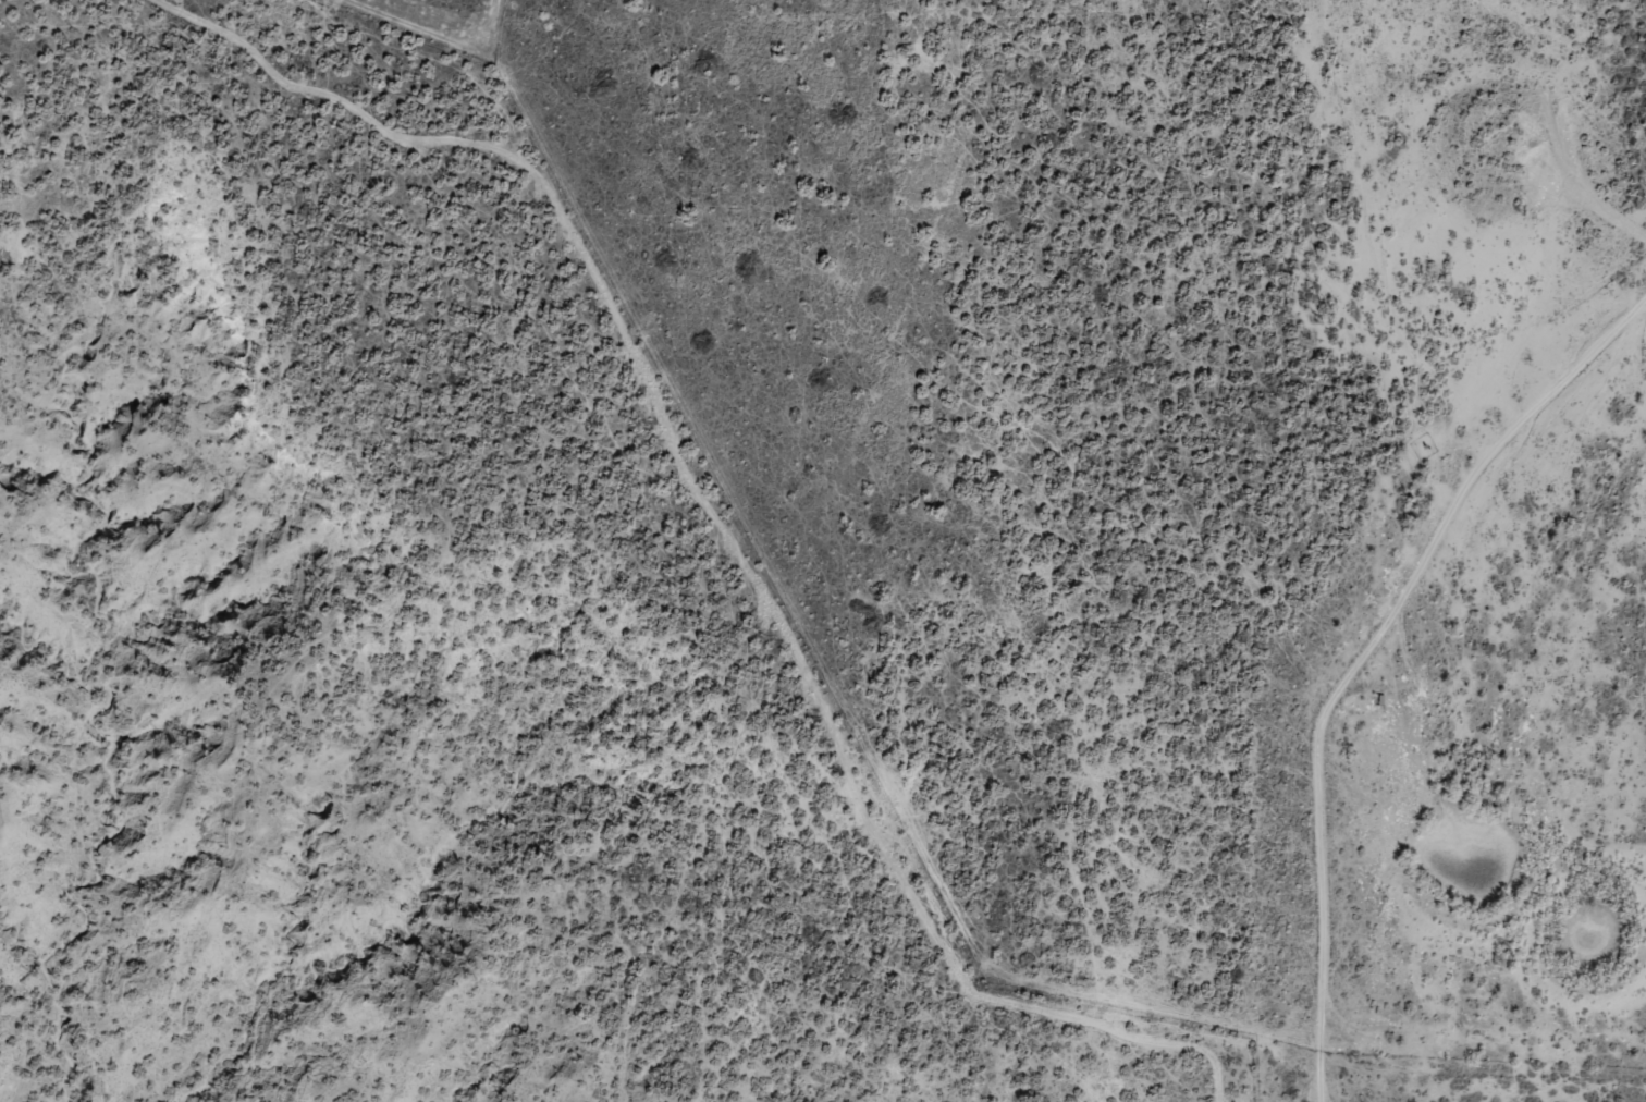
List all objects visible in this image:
road: (1356, 626)

